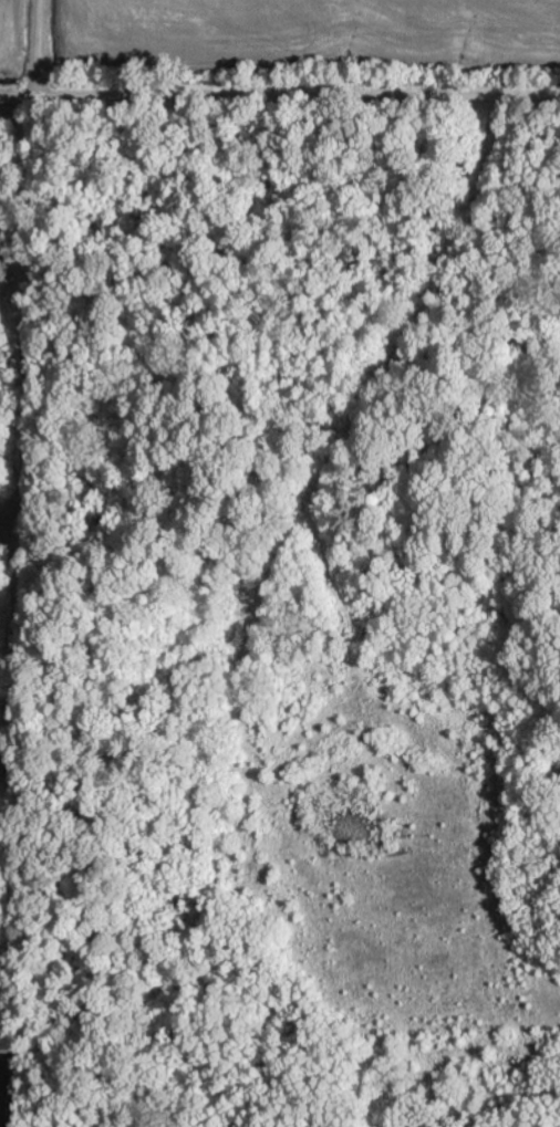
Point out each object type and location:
road: (19, 54)
road: (280, 116)

